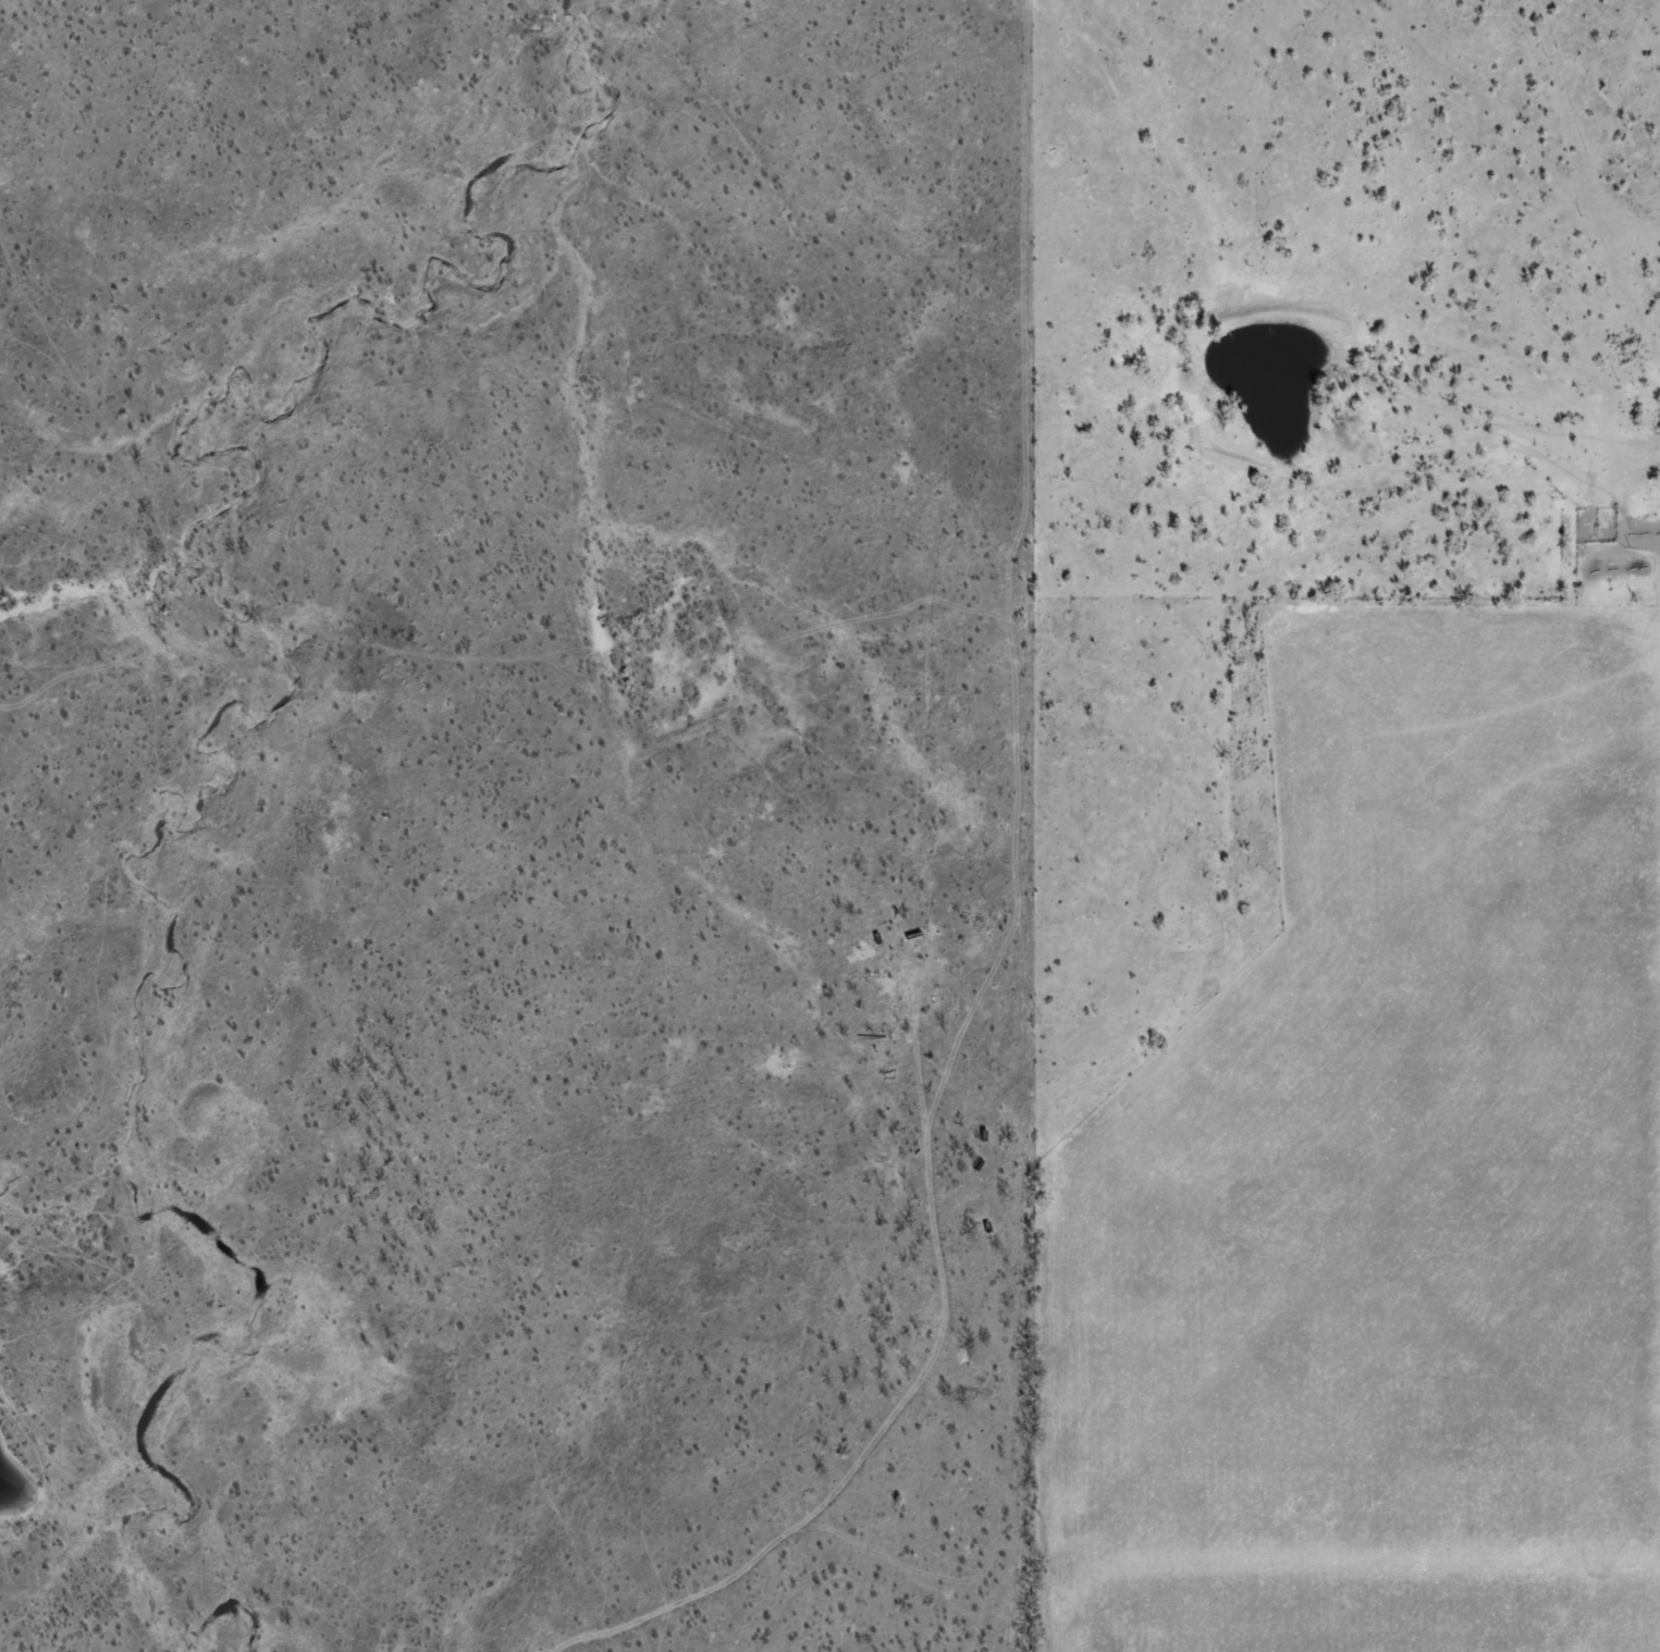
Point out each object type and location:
road: (292, 659)

